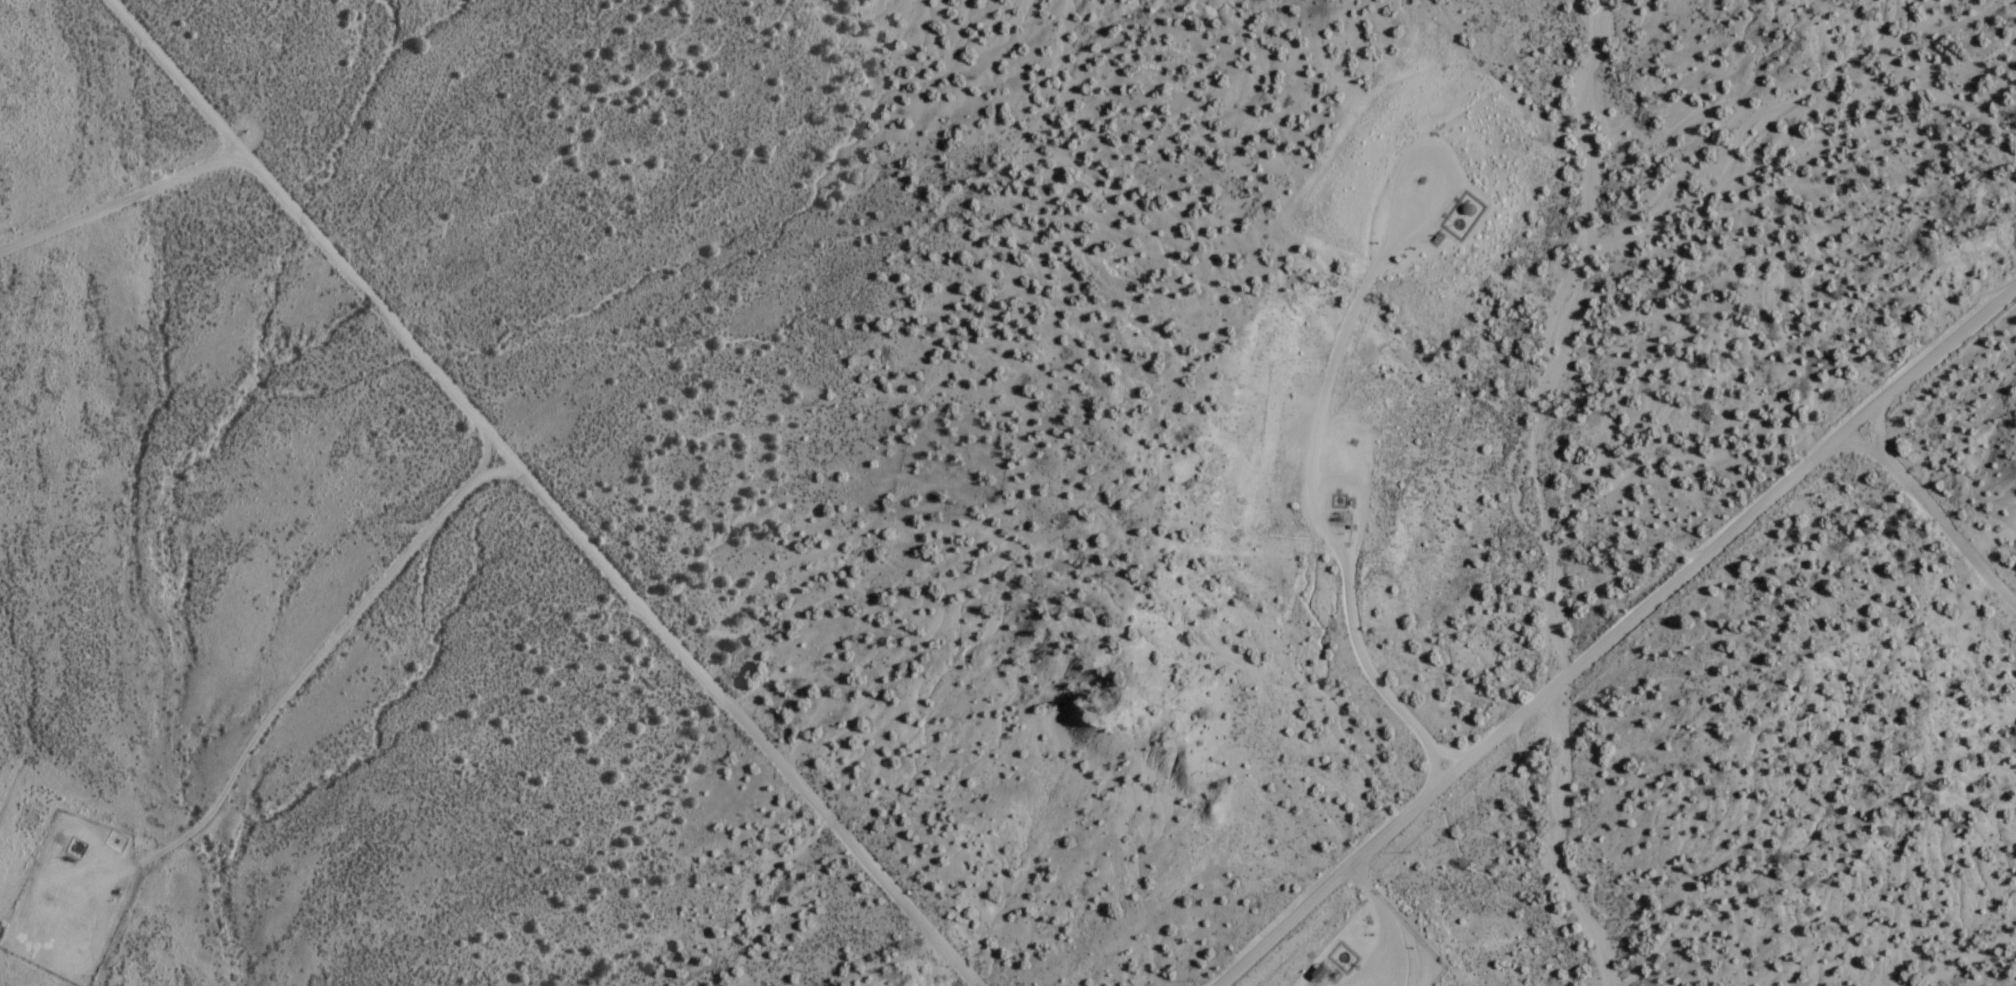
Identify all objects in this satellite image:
road: (542, 493)
road: (1929, 516)
road: (1608, 627)
road: (1357, 885)
road: (1392, 945)
road: (1363, 951)
building: (1323, 973)

